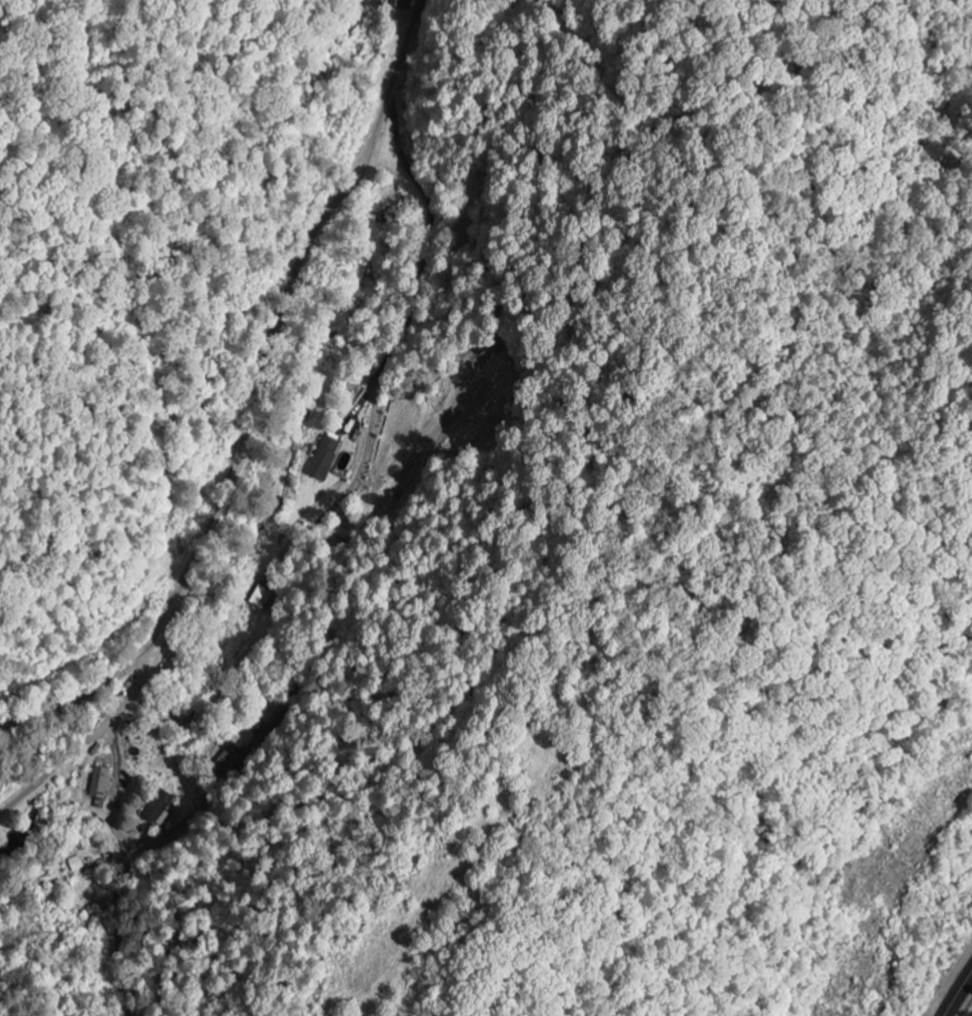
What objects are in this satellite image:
road: (239, 426)
building: (322, 460)
building: (266, 596)
road: (77, 701)
building: (98, 787)
building: (158, 807)
building: (75, 865)
road: (959, 996)

